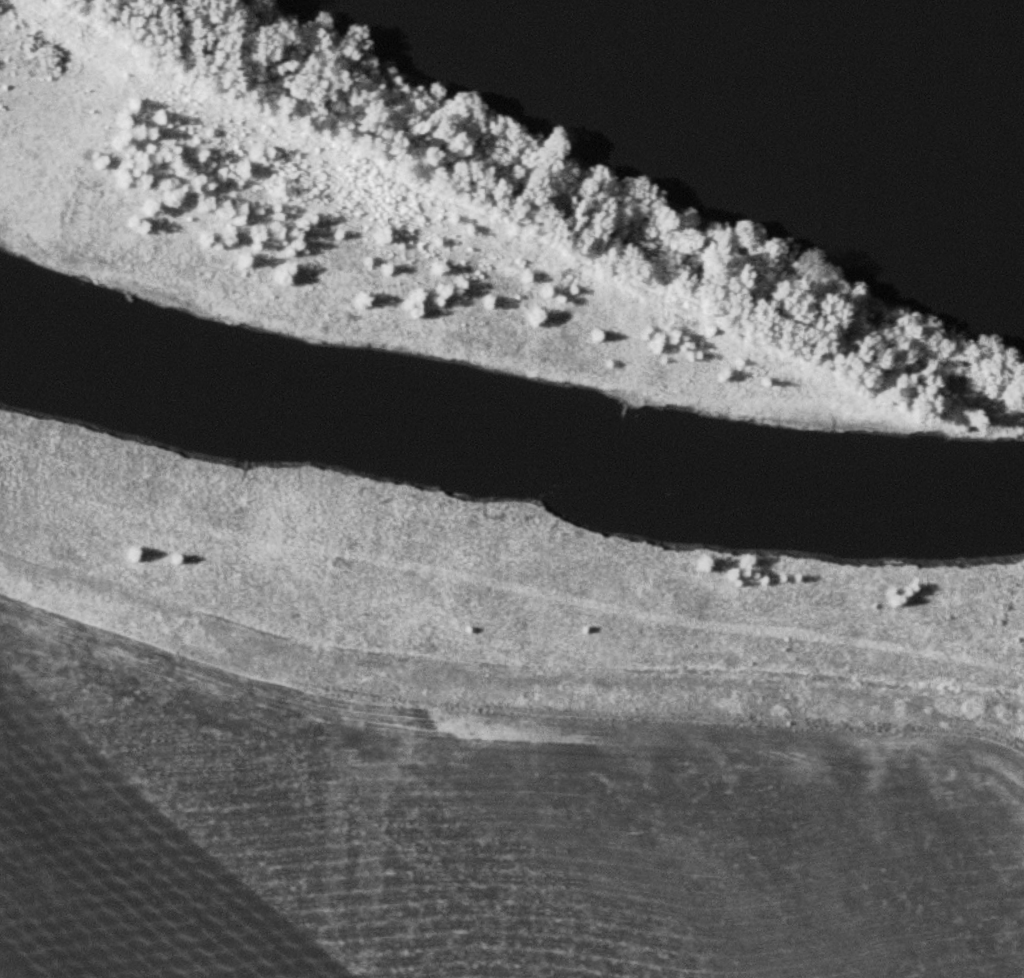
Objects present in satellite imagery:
river: (863, 22)
river: (898, 60)

